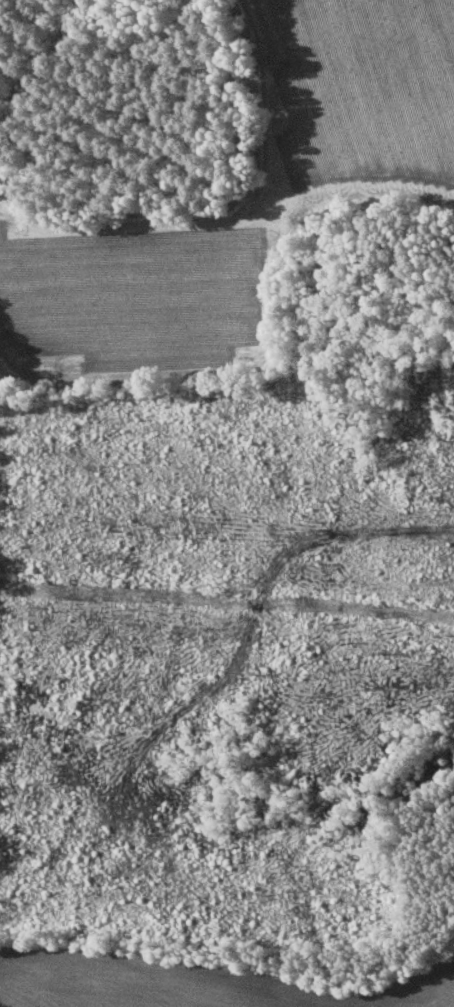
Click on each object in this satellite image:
crop: (363, 184)
road: (231, 217)
crop: (190, 981)

